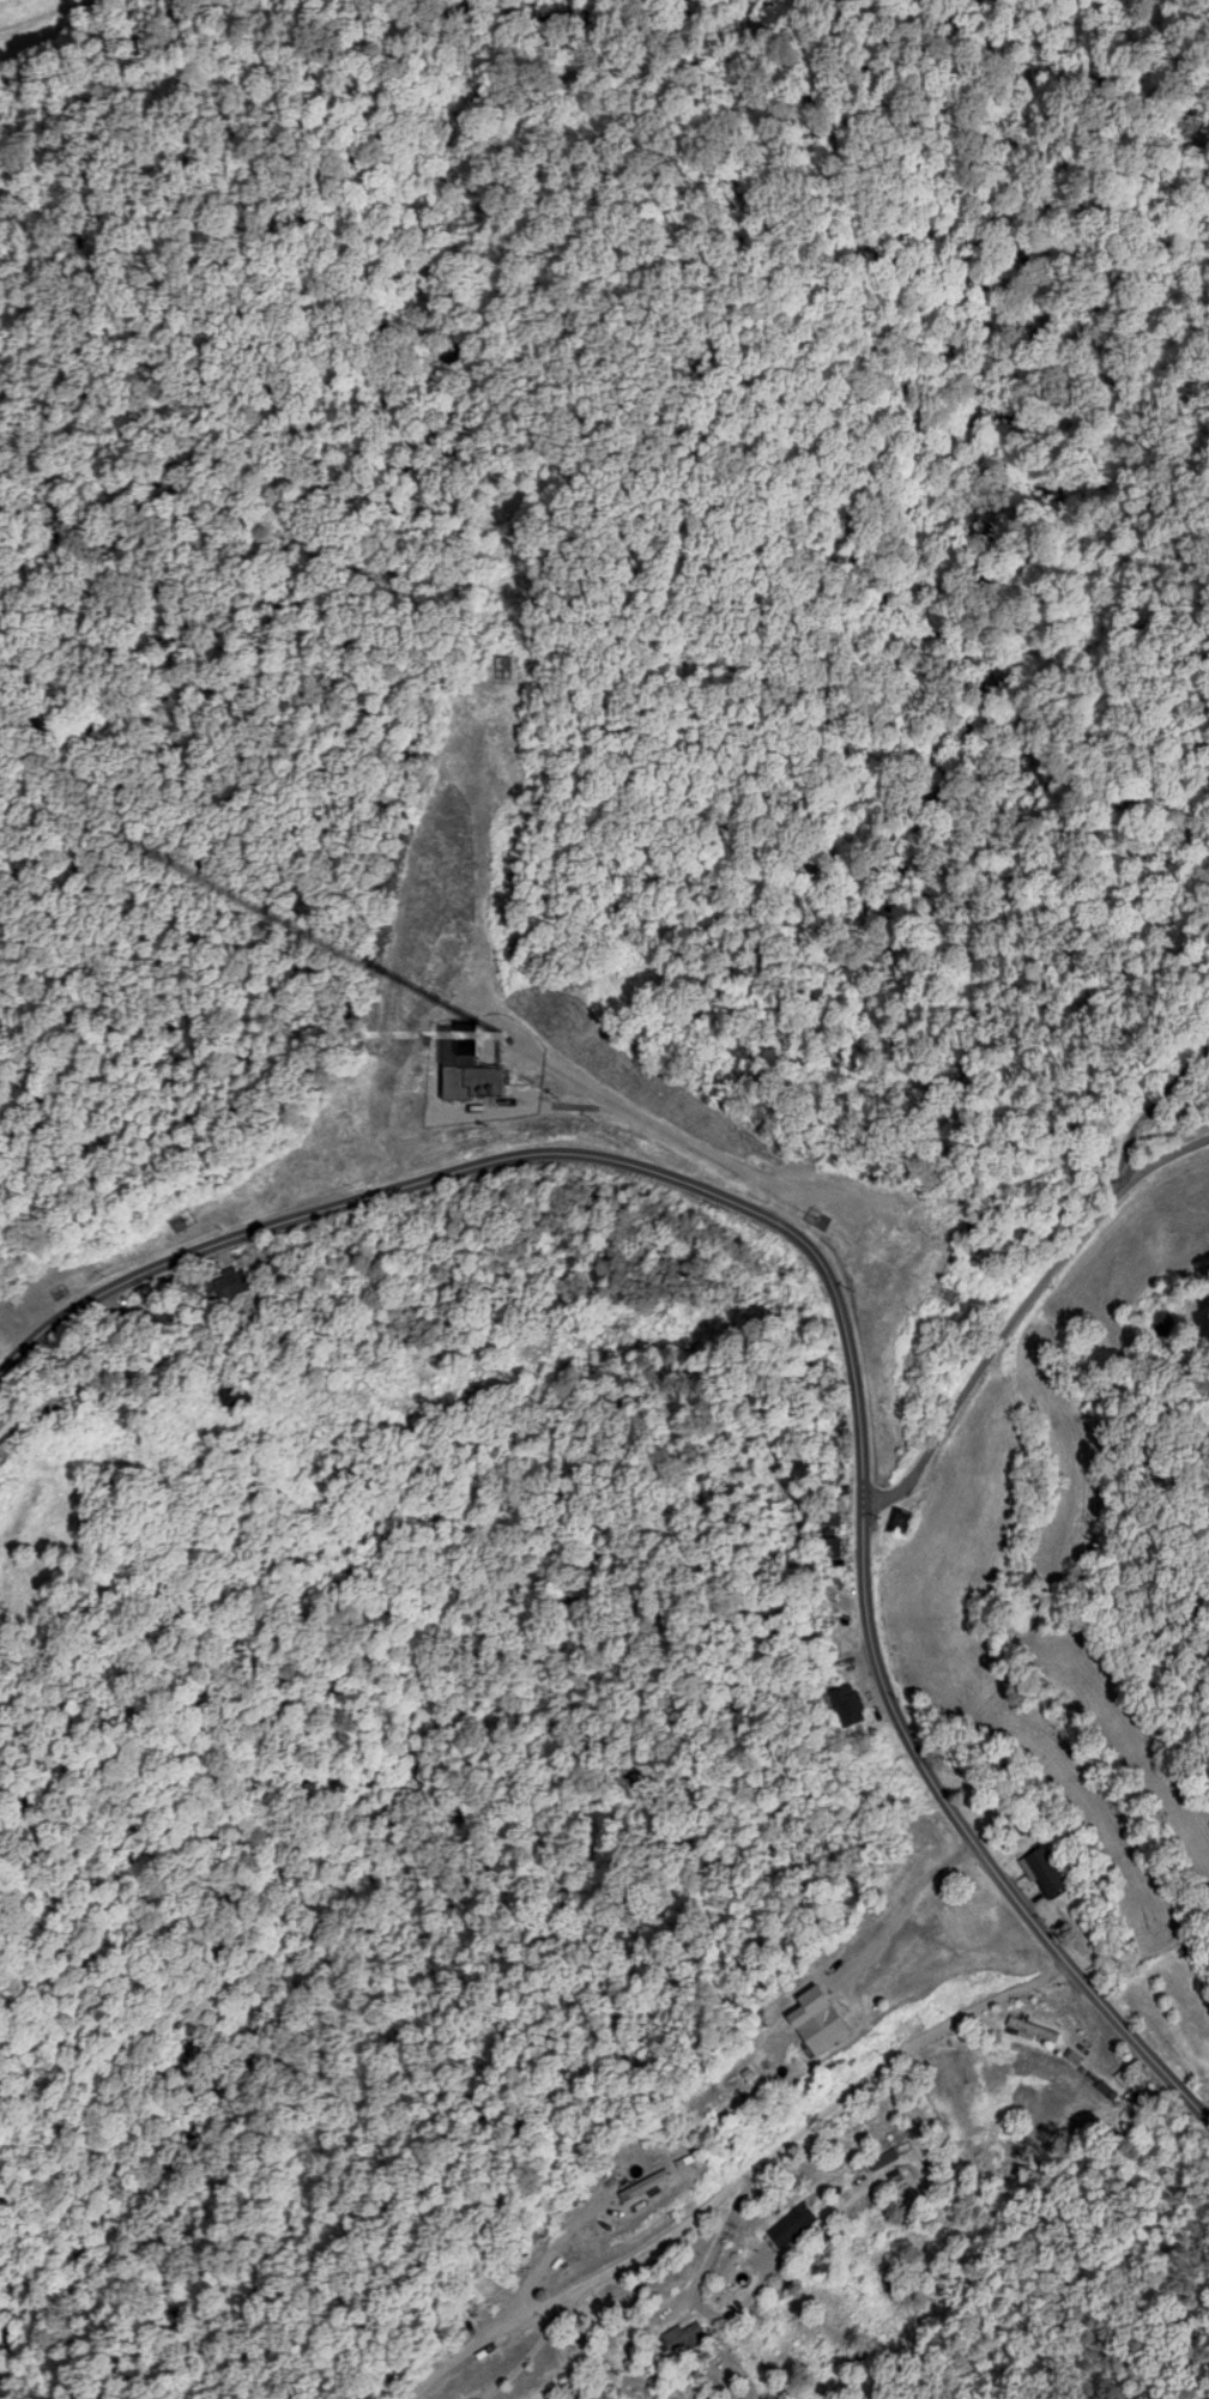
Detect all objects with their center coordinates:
building: (473, 1041)
building: (482, 1081)
road: (1156, 1106)
building: (309, 1243)
building: (237, 1285)
road: (835, 1300)
road: (1023, 1313)
building: (810, 1325)
building: (11, 1445)
building: (908, 1519)
building: (839, 1547)
building: (852, 1703)
building: (1057, 1871)
building: (818, 2028)
building: (780, 2071)
road: (816, 2116)
building: (882, 2158)
building: (652, 2185)
building: (802, 2224)
building: (694, 2334)

